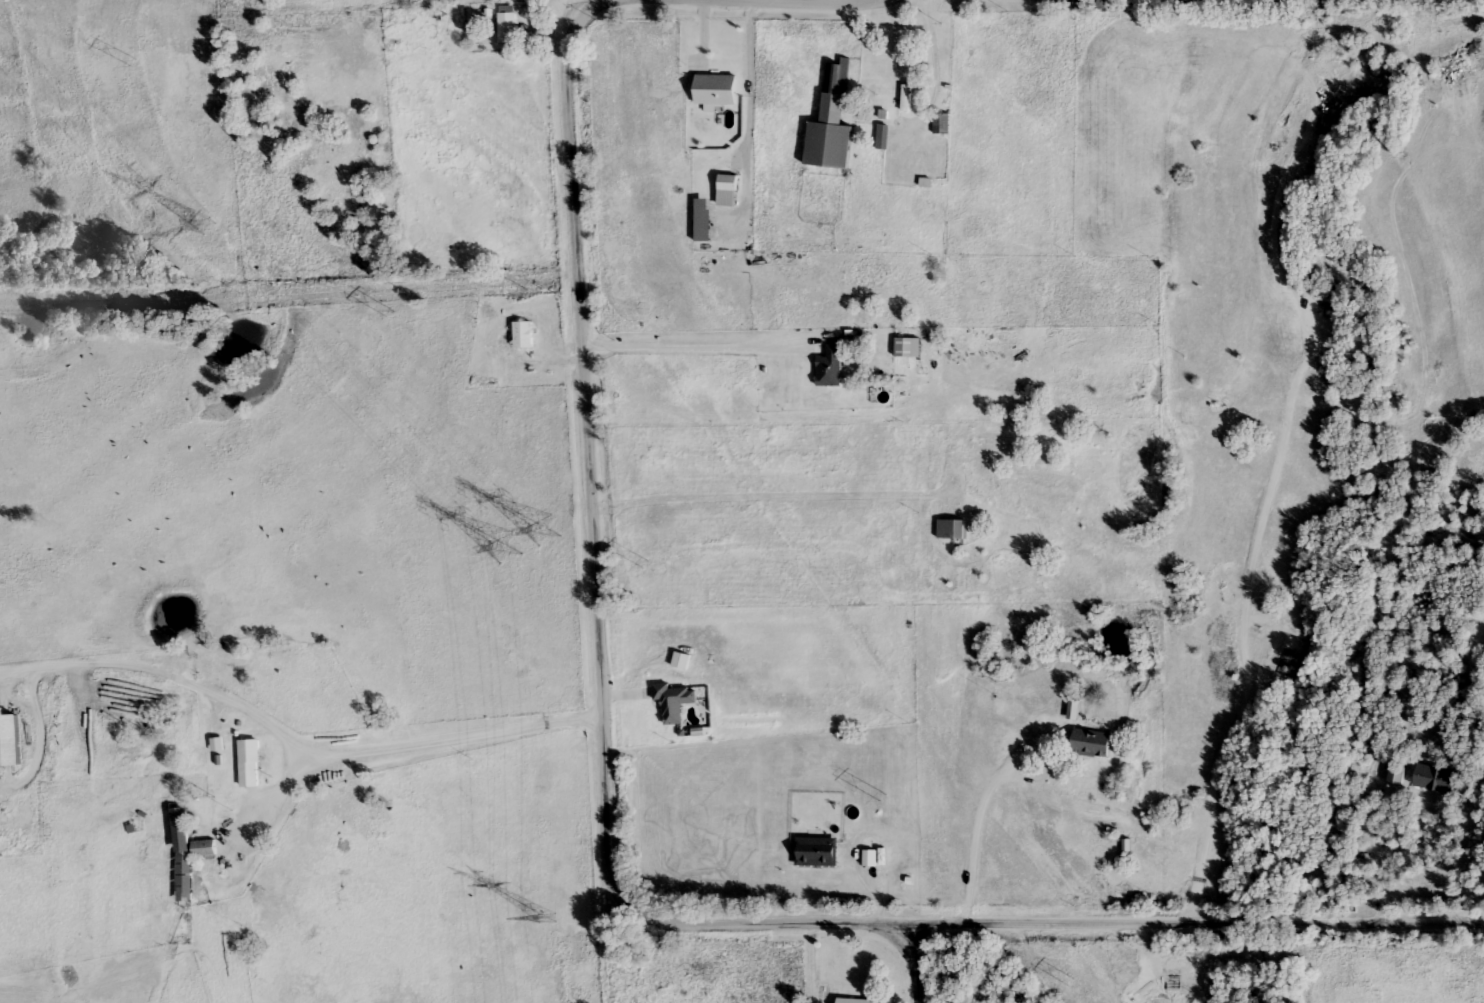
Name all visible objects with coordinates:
building: (1101, 4)
building: (509, 24)
building: (717, 89)
building: (906, 97)
building: (941, 122)
building: (832, 123)
building: (883, 136)
building: (728, 190)
power tower: (208, 226)
building: (523, 333)
road: (697, 347)
building: (831, 366)
road: (601, 526)
building: (953, 527)
power tower: (526, 535)
road: (1245, 624)
building: (10, 739)
building: (1093, 741)
road: (278, 750)
building: (250, 762)
building: (1396, 773)
building: (1435, 777)
road: (982, 819)
building: (204, 847)
building: (816, 850)
building: (182, 854)
power tower: (547, 916)
road: (1279, 927)
road: (991, 928)
road: (908, 966)
building: (859, 1000)

